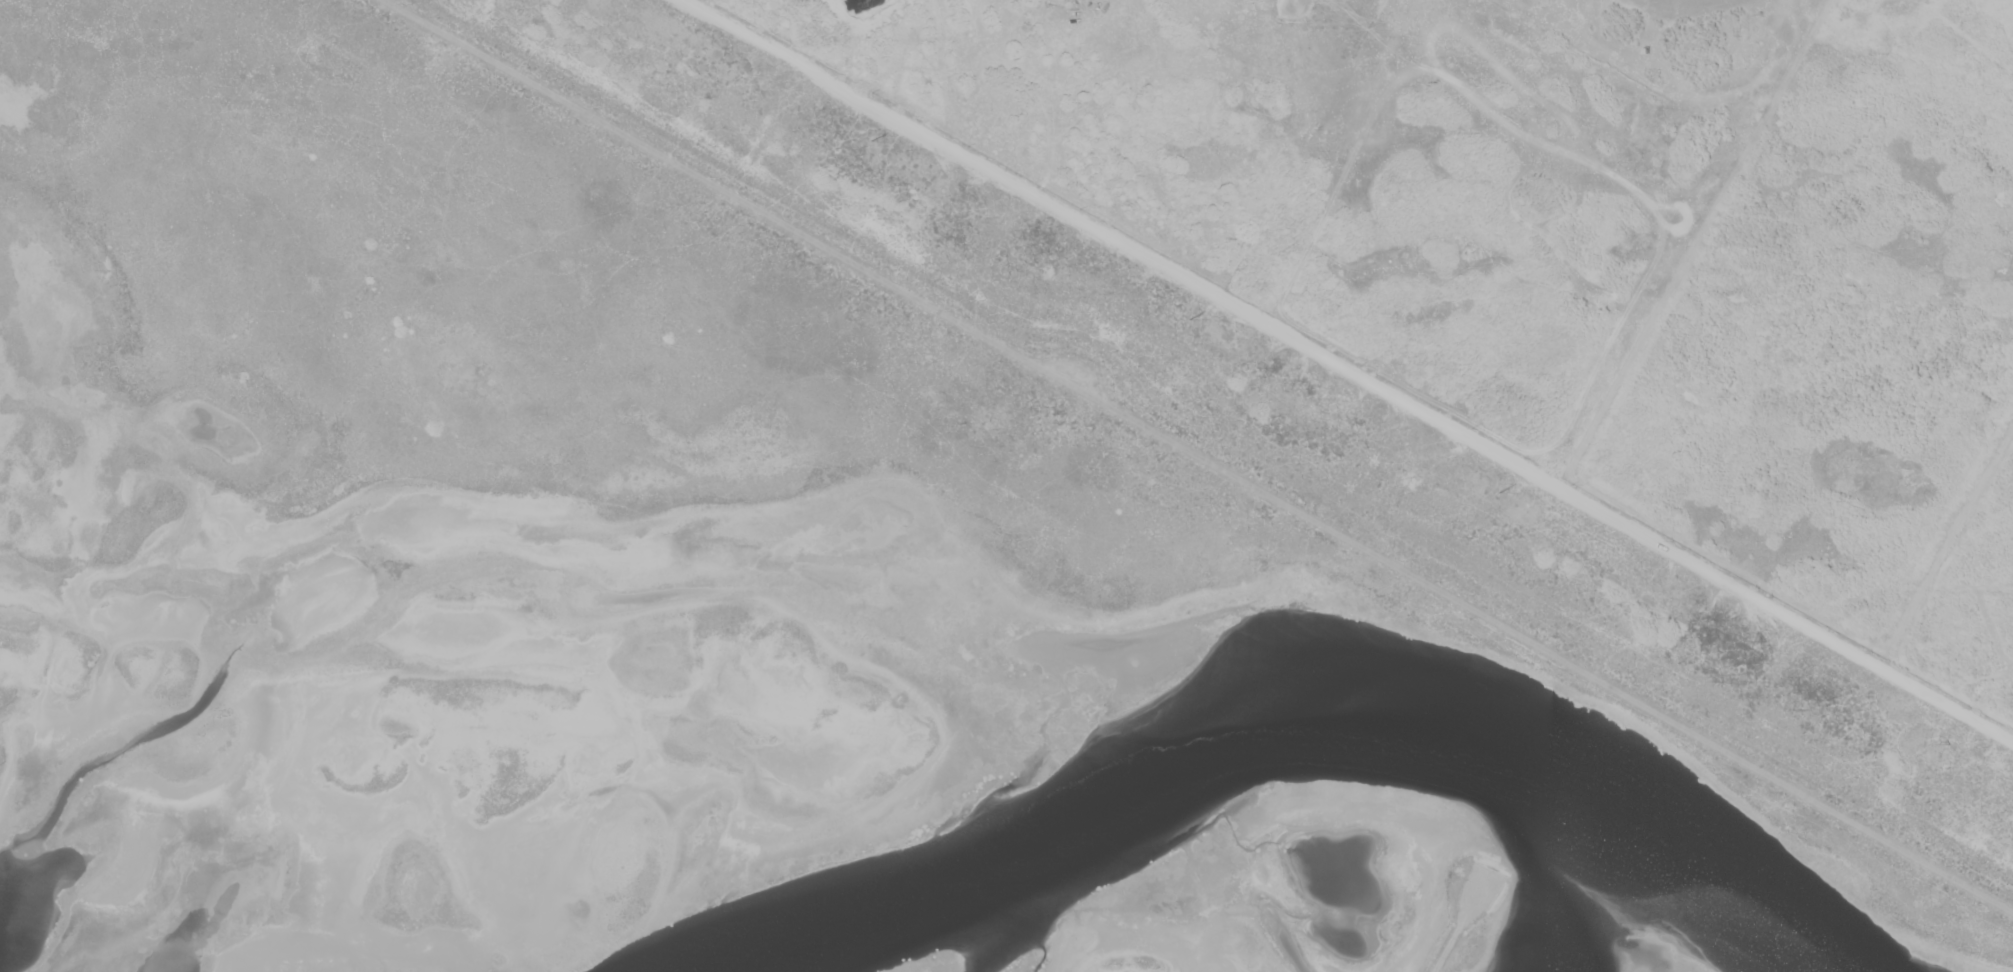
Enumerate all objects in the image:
road: (1349, 371)
road: (1199, 456)
power plant: (822, 564)
road: (1455, 930)

